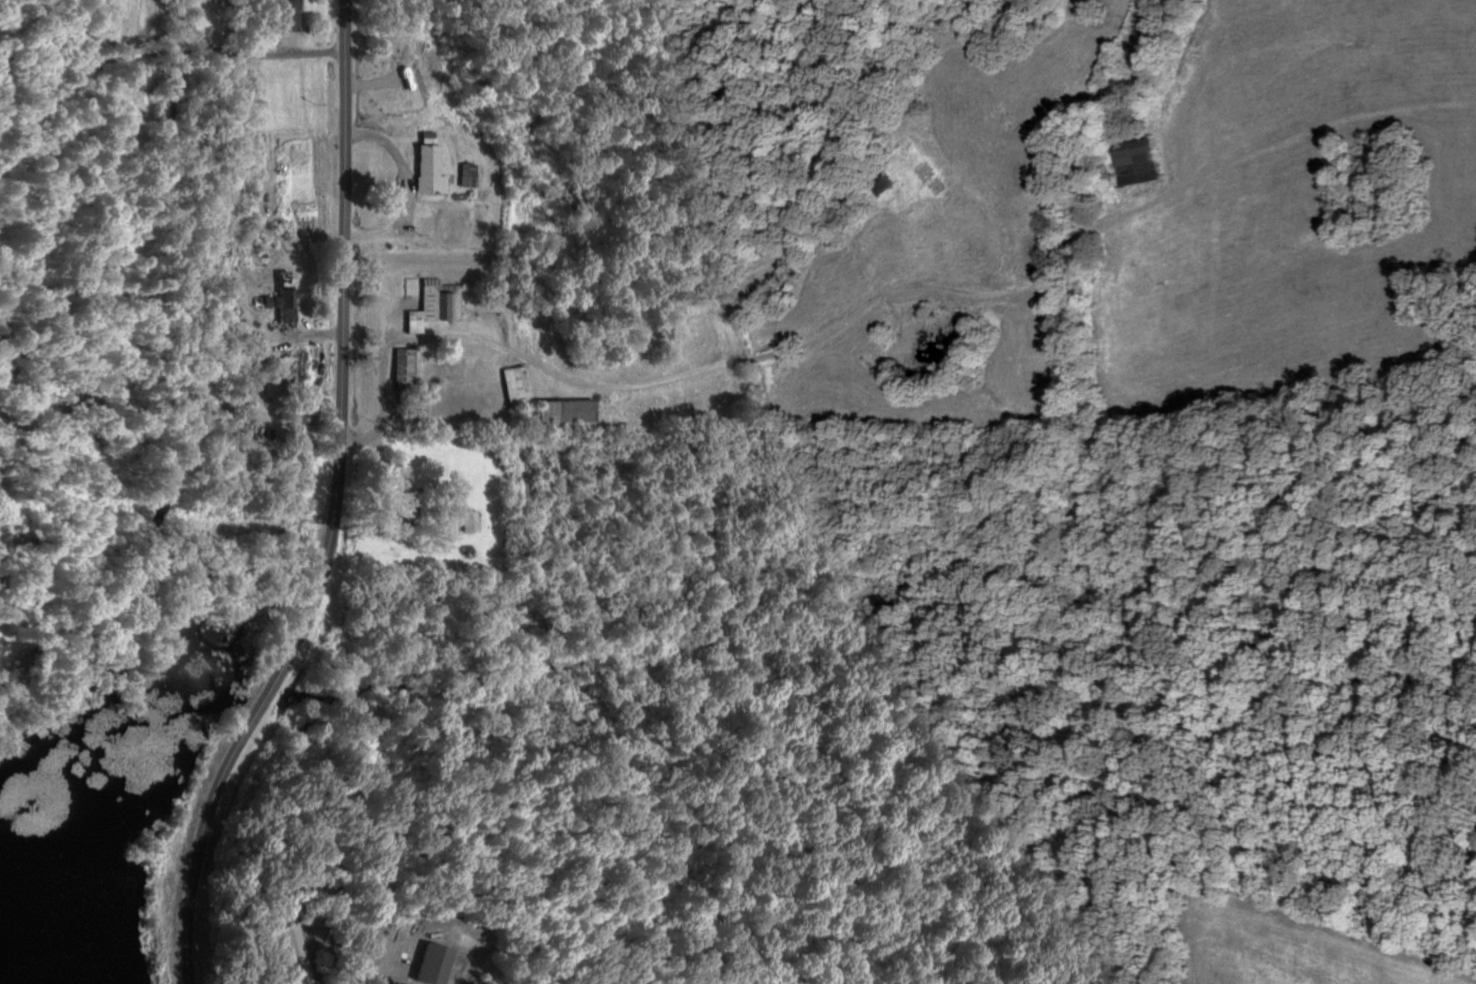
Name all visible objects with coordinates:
building: (293, 15)
road: (157, 56)
building: (1136, 161)
building: (910, 165)
building: (430, 170)
building: (470, 175)
building: (391, 283)
building: (438, 305)
building: (289, 306)
building: (412, 366)
building: (522, 386)
building: (574, 410)
building: (406, 503)
road: (337, 508)
building: (474, 521)
building: (297, 954)
building: (438, 963)

